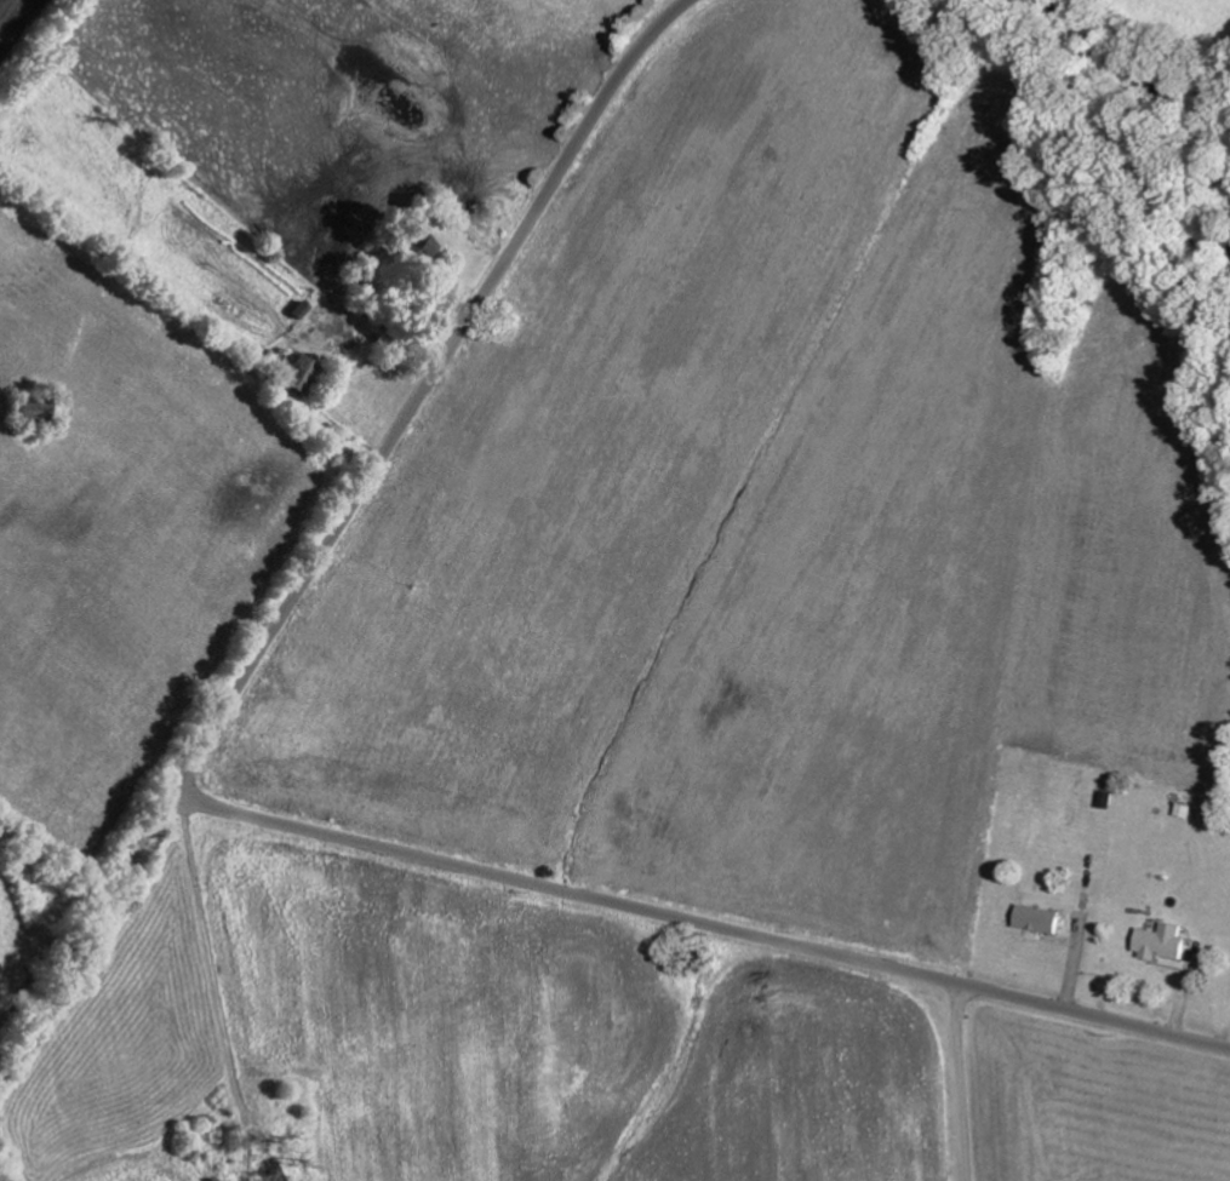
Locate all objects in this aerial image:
building: (38, 409)
road: (337, 529)
building: (1040, 918)
road: (700, 923)
building: (1163, 941)
road: (503, 1031)

